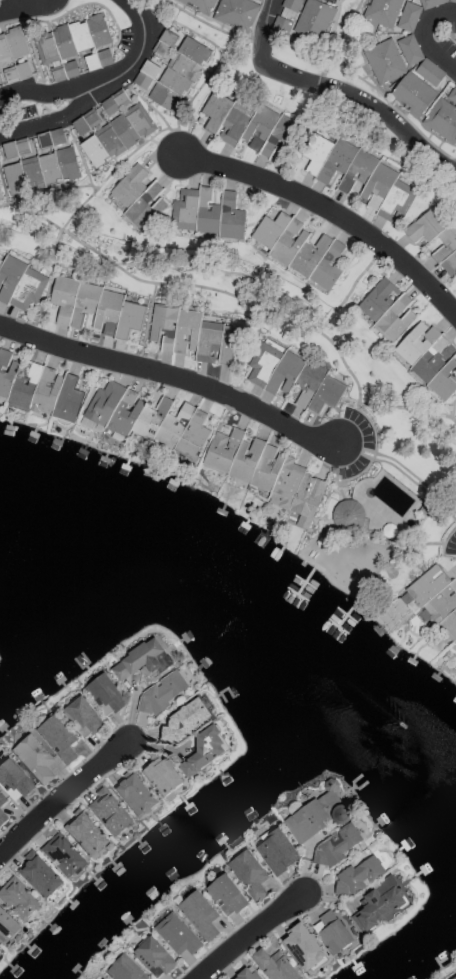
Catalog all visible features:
building: (257, 0)
building: (452, 1)
building: (430, 3)
road: (14, 5)
building: (199, 5)
building: (290, 7)
building: (381, 12)
building: (236, 13)
building: (408, 17)
building: (307, 23)
road: (211, 25)
road: (182, 26)
road: (263, 26)
building: (98, 30)
road: (427, 36)
building: (62, 42)
road: (32, 49)
building: (409, 50)
building: (12, 56)
building: (97, 59)
road: (134, 59)
building: (384, 61)
building: (173, 69)
building: (64, 70)
road: (323, 72)
building: (429, 72)
road: (202, 82)
road: (372, 85)
road: (39, 93)
building: (412, 93)
road: (362, 102)
road: (147, 103)
building: (109, 105)
building: (441, 119)
road: (45, 122)
building: (247, 125)
building: (111, 133)
building: (50, 138)
road: (163, 146)
road: (77, 151)
building: (67, 163)
building: (28, 167)
building: (359, 175)
building: (129, 186)
road: (3, 190)
road: (54, 191)
building: (0, 198)
building: (145, 206)
road: (331, 212)
road: (31, 213)
building: (207, 214)
building: (448, 241)
building: (299, 250)
road: (83, 270)
road: (49, 283)
building: (20, 284)
road: (176, 284)
road: (350, 289)
building: (378, 299)
building: (94, 308)
building: (394, 319)
road: (147, 325)
building: (175, 328)
building: (219, 342)
building: (423, 351)
building: (6, 372)
road: (172, 375)
building: (292, 378)
building: (443, 379)
building: (46, 393)
building: (113, 408)
road: (416, 409)
road: (454, 419)
road: (454, 423)
building: (173, 427)
road: (404, 471)
building: (265, 472)
road: (338, 491)
building: (425, 509)
building: (347, 515)
road: (424, 543)
building: (425, 607)
building: (142, 660)
building: (162, 692)
building: (105, 694)
building: (83, 716)
building: (187, 718)
building: (58, 737)
building: (203, 751)
building: (34, 758)
building: (161, 776)
building: (14, 780)
building: (134, 794)
road: (64, 796)
building: (2, 800)
building: (109, 812)
building: (312, 814)
building: (2, 817)
building: (85, 834)
building: (335, 846)
building: (277, 852)
building: (62, 855)
building: (39, 874)
building: (249, 874)
building: (357, 875)
building: (225, 895)
building: (18, 900)
building: (379, 904)
building: (199, 915)
building: (7, 927)
building: (331, 932)
building: (176, 934)
road: (248, 934)
building: (0, 947)
building: (302, 947)
building: (153, 957)
building: (274, 965)
building: (125, 969)
building: (246, 975)

